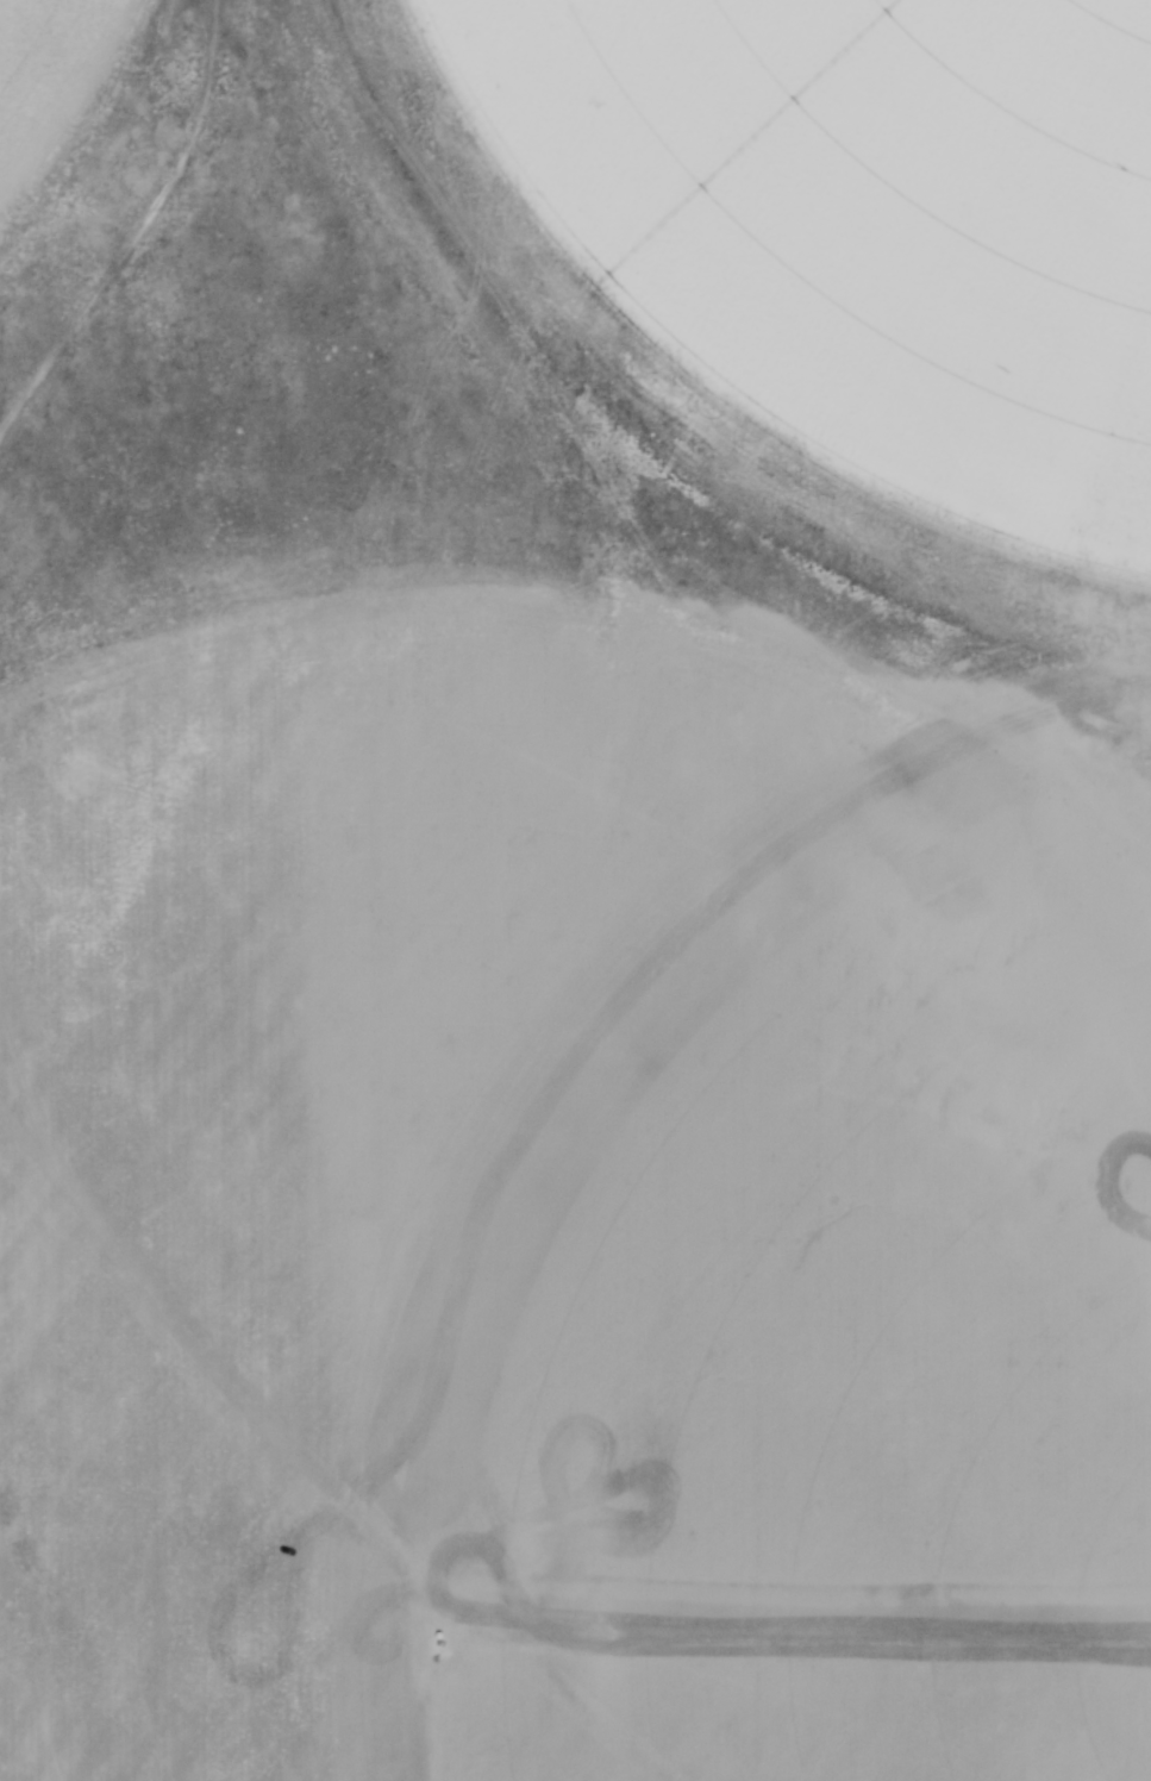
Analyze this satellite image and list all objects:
crop: (46, 68)
crop: (830, 270)
crop: (559, 1216)

